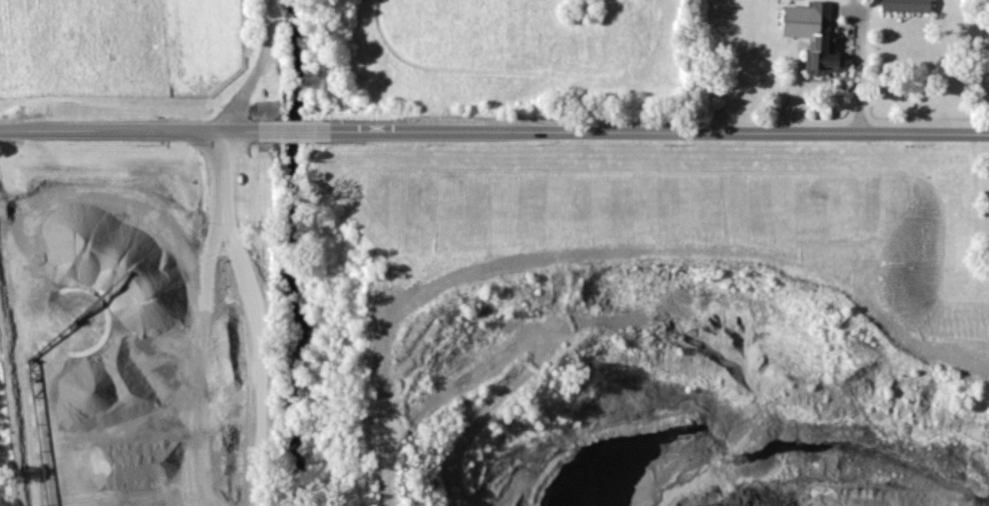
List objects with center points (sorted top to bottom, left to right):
building: (907, 6)
building: (815, 37)
road: (259, 68)
road: (863, 72)
road: (141, 128)
road: (306, 129)
road: (658, 132)
road: (253, 315)

